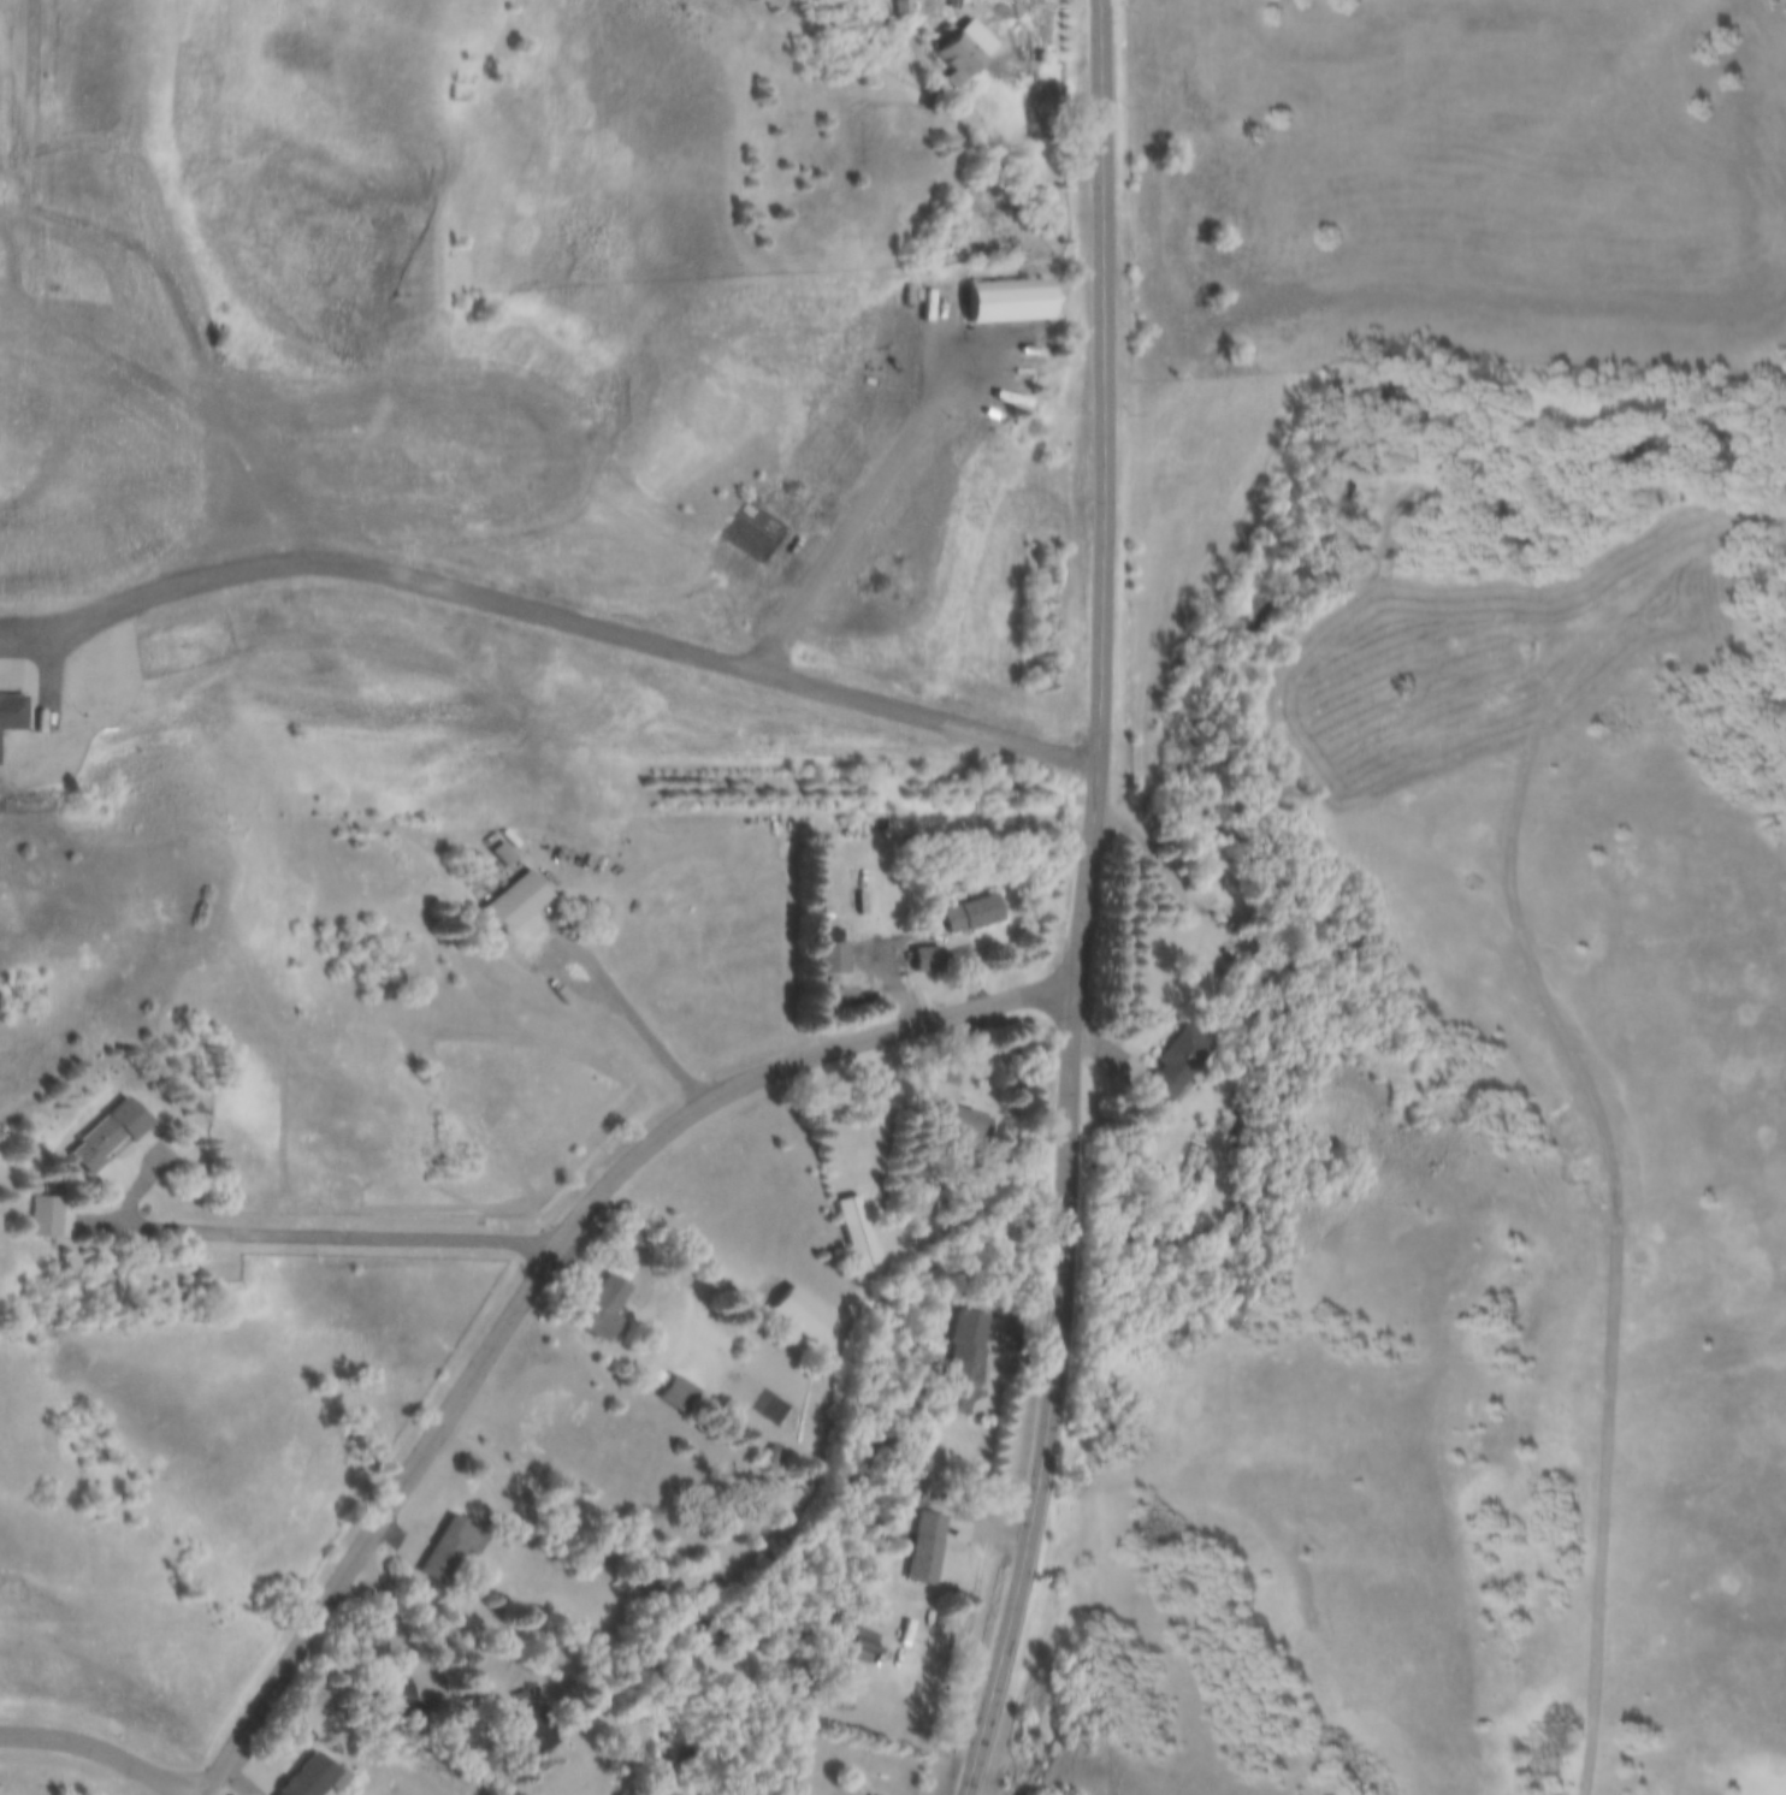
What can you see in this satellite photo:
building: (906, 7)
building: (966, 59)
road: (1100, 101)
building: (1027, 301)
road: (1743, 511)
road: (402, 585)
road: (758, 676)
building: (496, 866)
building: (525, 904)
building: (976, 916)
building: (838, 960)
building: (933, 961)
road: (1069, 1002)
road: (622, 1011)
building: (1166, 1067)
building: (105, 1145)
building: (864, 1233)
road: (342, 1238)
road: (542, 1272)
building: (614, 1310)
building: (966, 1362)
building: (685, 1396)
building: (923, 1548)
building: (457, 1550)
building: (857, 1646)
building: (524, 1700)
building: (542, 1732)
road: (97, 1747)

